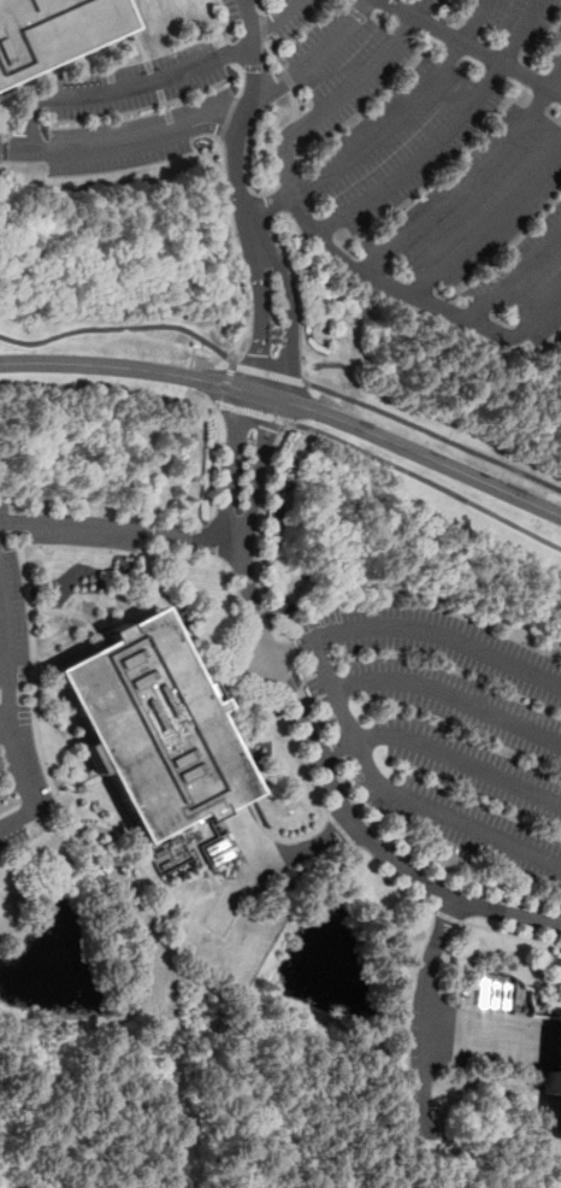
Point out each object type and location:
road: (368, 4)
road: (260, 6)
road: (388, 14)
road: (276, 17)
road: (250, 18)
road: (226, 20)
road: (264, 25)
road: (407, 25)
building: (49, 29)
road: (136, 29)
road: (430, 37)
road: (474, 46)
road: (455, 49)
road: (126, 53)
road: (232, 53)
road: (274, 54)
road: (317, 55)
road: (477, 60)
road: (497, 71)
road: (244, 76)
road: (289, 78)
road: (521, 84)
road: (342, 93)
road: (544, 98)
road: (296, 102)
road: (557, 104)
road: (404, 111)
road: (230, 117)
road: (30, 120)
road: (445, 134)
parking lot: (367, 140)
road: (237, 145)
road: (16, 147)
road: (472, 183)
road: (490, 228)
road: (238, 251)
road: (372, 277)
road: (515, 280)
road: (290, 311)
road: (261, 312)
road: (544, 313)
road: (119, 325)
road: (193, 355)
road: (270, 372)
road: (266, 382)
road: (226, 383)
road: (289, 401)
road: (256, 413)
road: (435, 433)
road: (213, 461)
road: (427, 482)
road: (118, 528)
road: (217, 540)
road: (26, 578)
road: (230, 593)
road: (442, 635)
road: (291, 649)
parking lot: (14, 663)
road: (223, 667)
road: (235, 674)
road: (451, 696)
road: (315, 700)
road: (10, 706)
road: (306, 724)
parking lot: (444, 725)
building: (153, 728)
road: (443, 754)
road: (397, 795)
road: (248, 836)
road: (284, 840)
road: (320, 843)
road: (378, 874)
road: (248, 886)
road: (420, 1016)
road: (479, 1040)
building: (556, 1081)

